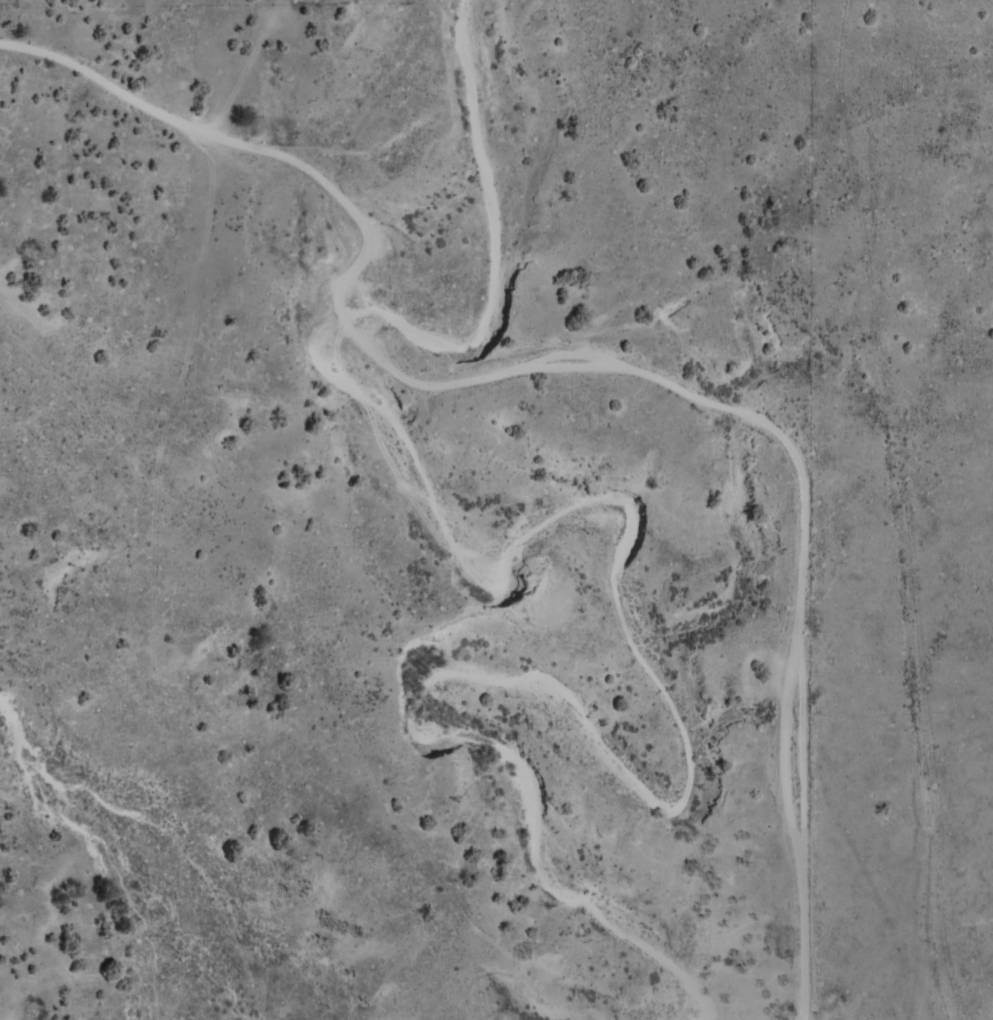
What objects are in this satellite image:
road: (565, 403)
road: (792, 671)

